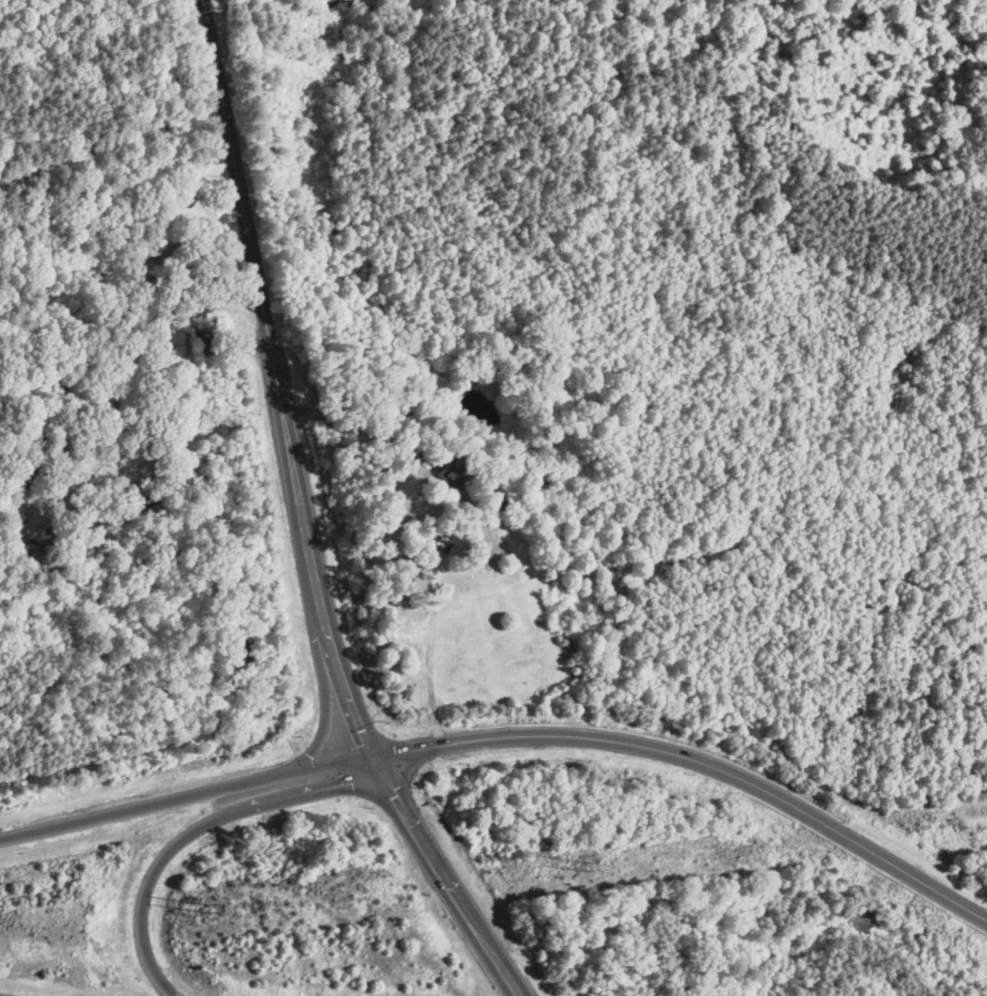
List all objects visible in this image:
road: (245, 205)
building: (203, 338)
road: (119, 363)
building: (460, 475)
road: (462, 523)
building: (249, 657)
road: (356, 723)
road: (695, 761)
traffic signals: (371, 764)
road: (184, 796)
road: (192, 832)
power tower: (587, 864)
power tower: (206, 907)

